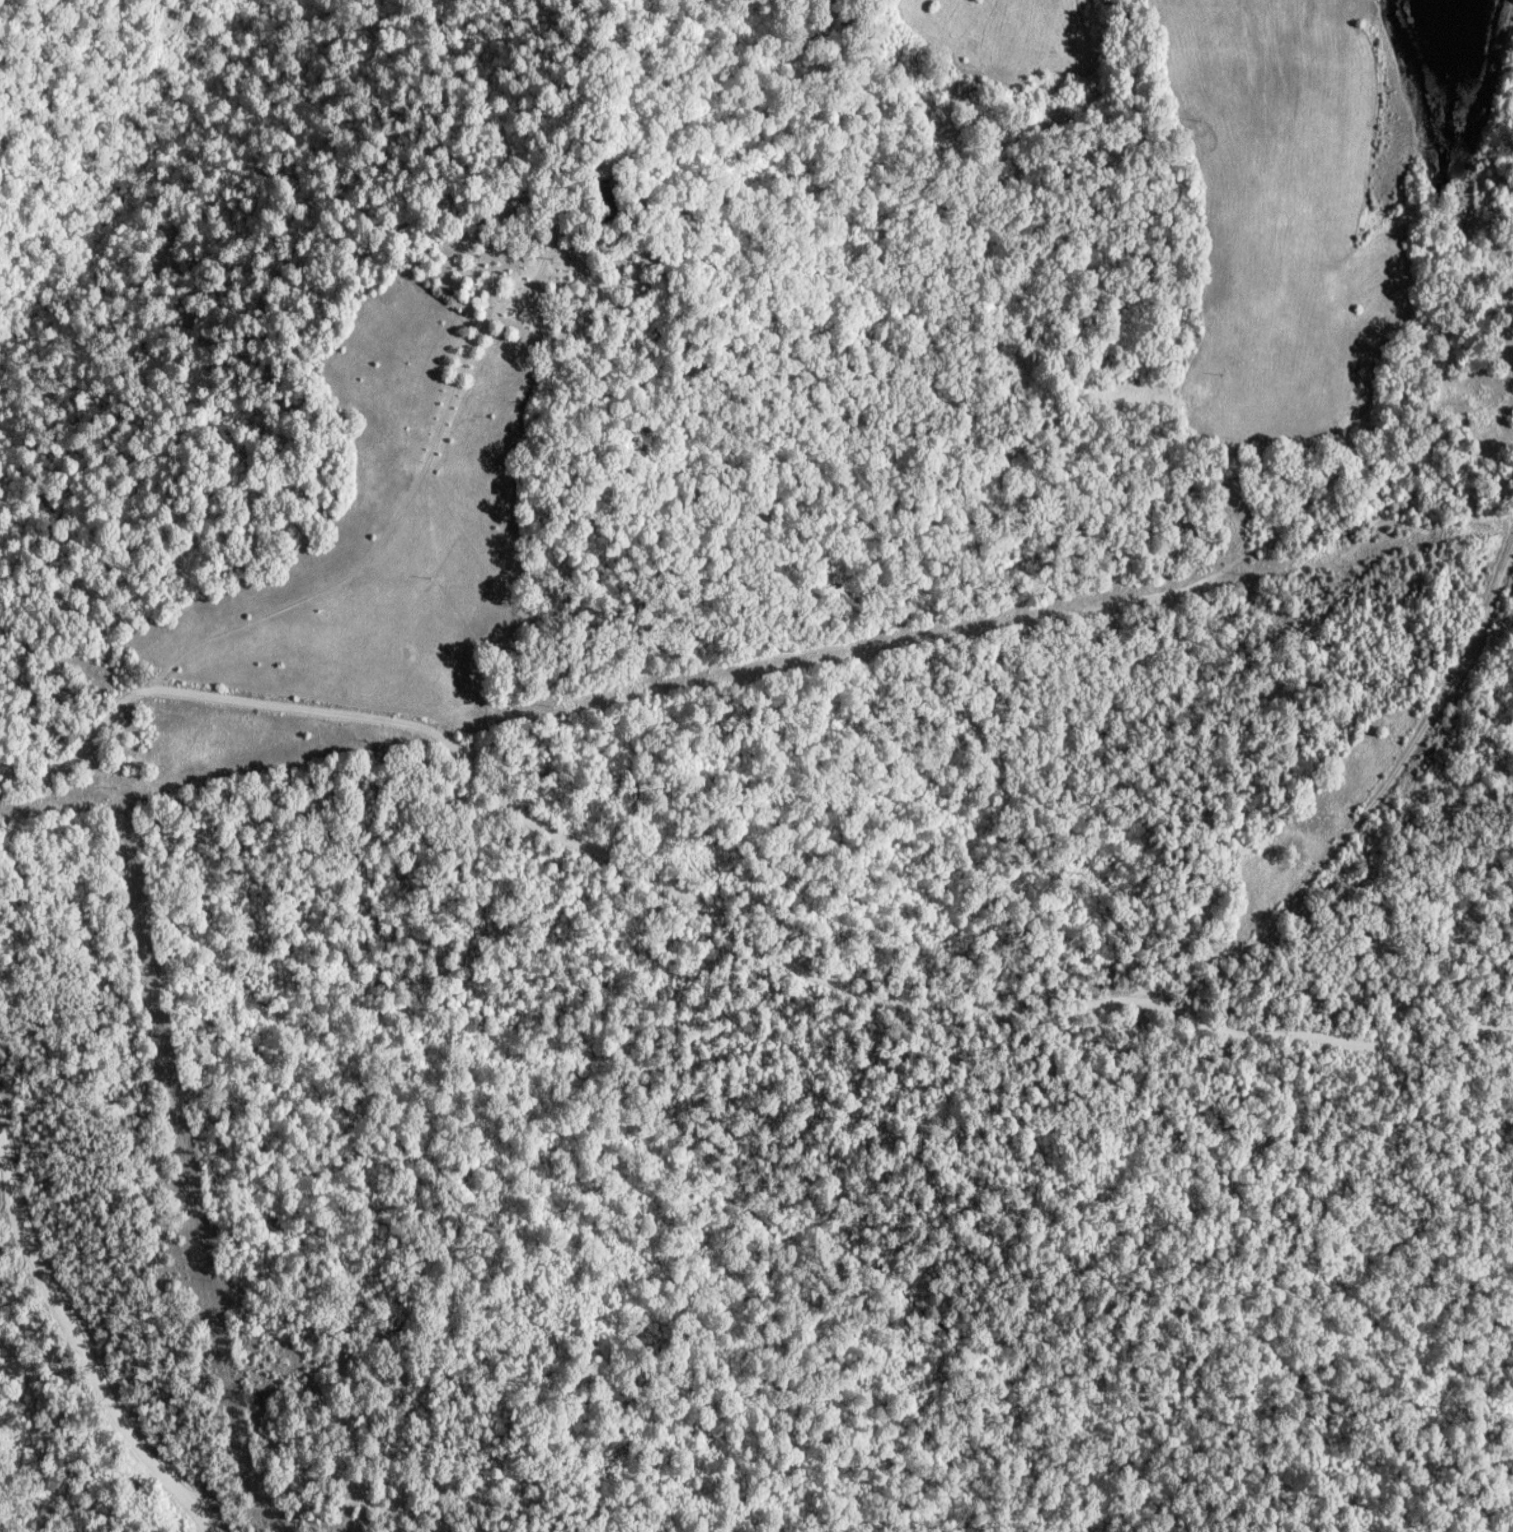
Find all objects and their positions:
road: (1345, 421)
road: (716, 487)
road: (407, 496)
road: (887, 642)
road: (1362, 818)
road: (719, 924)
road: (78, 1339)
road: (315, 1504)

